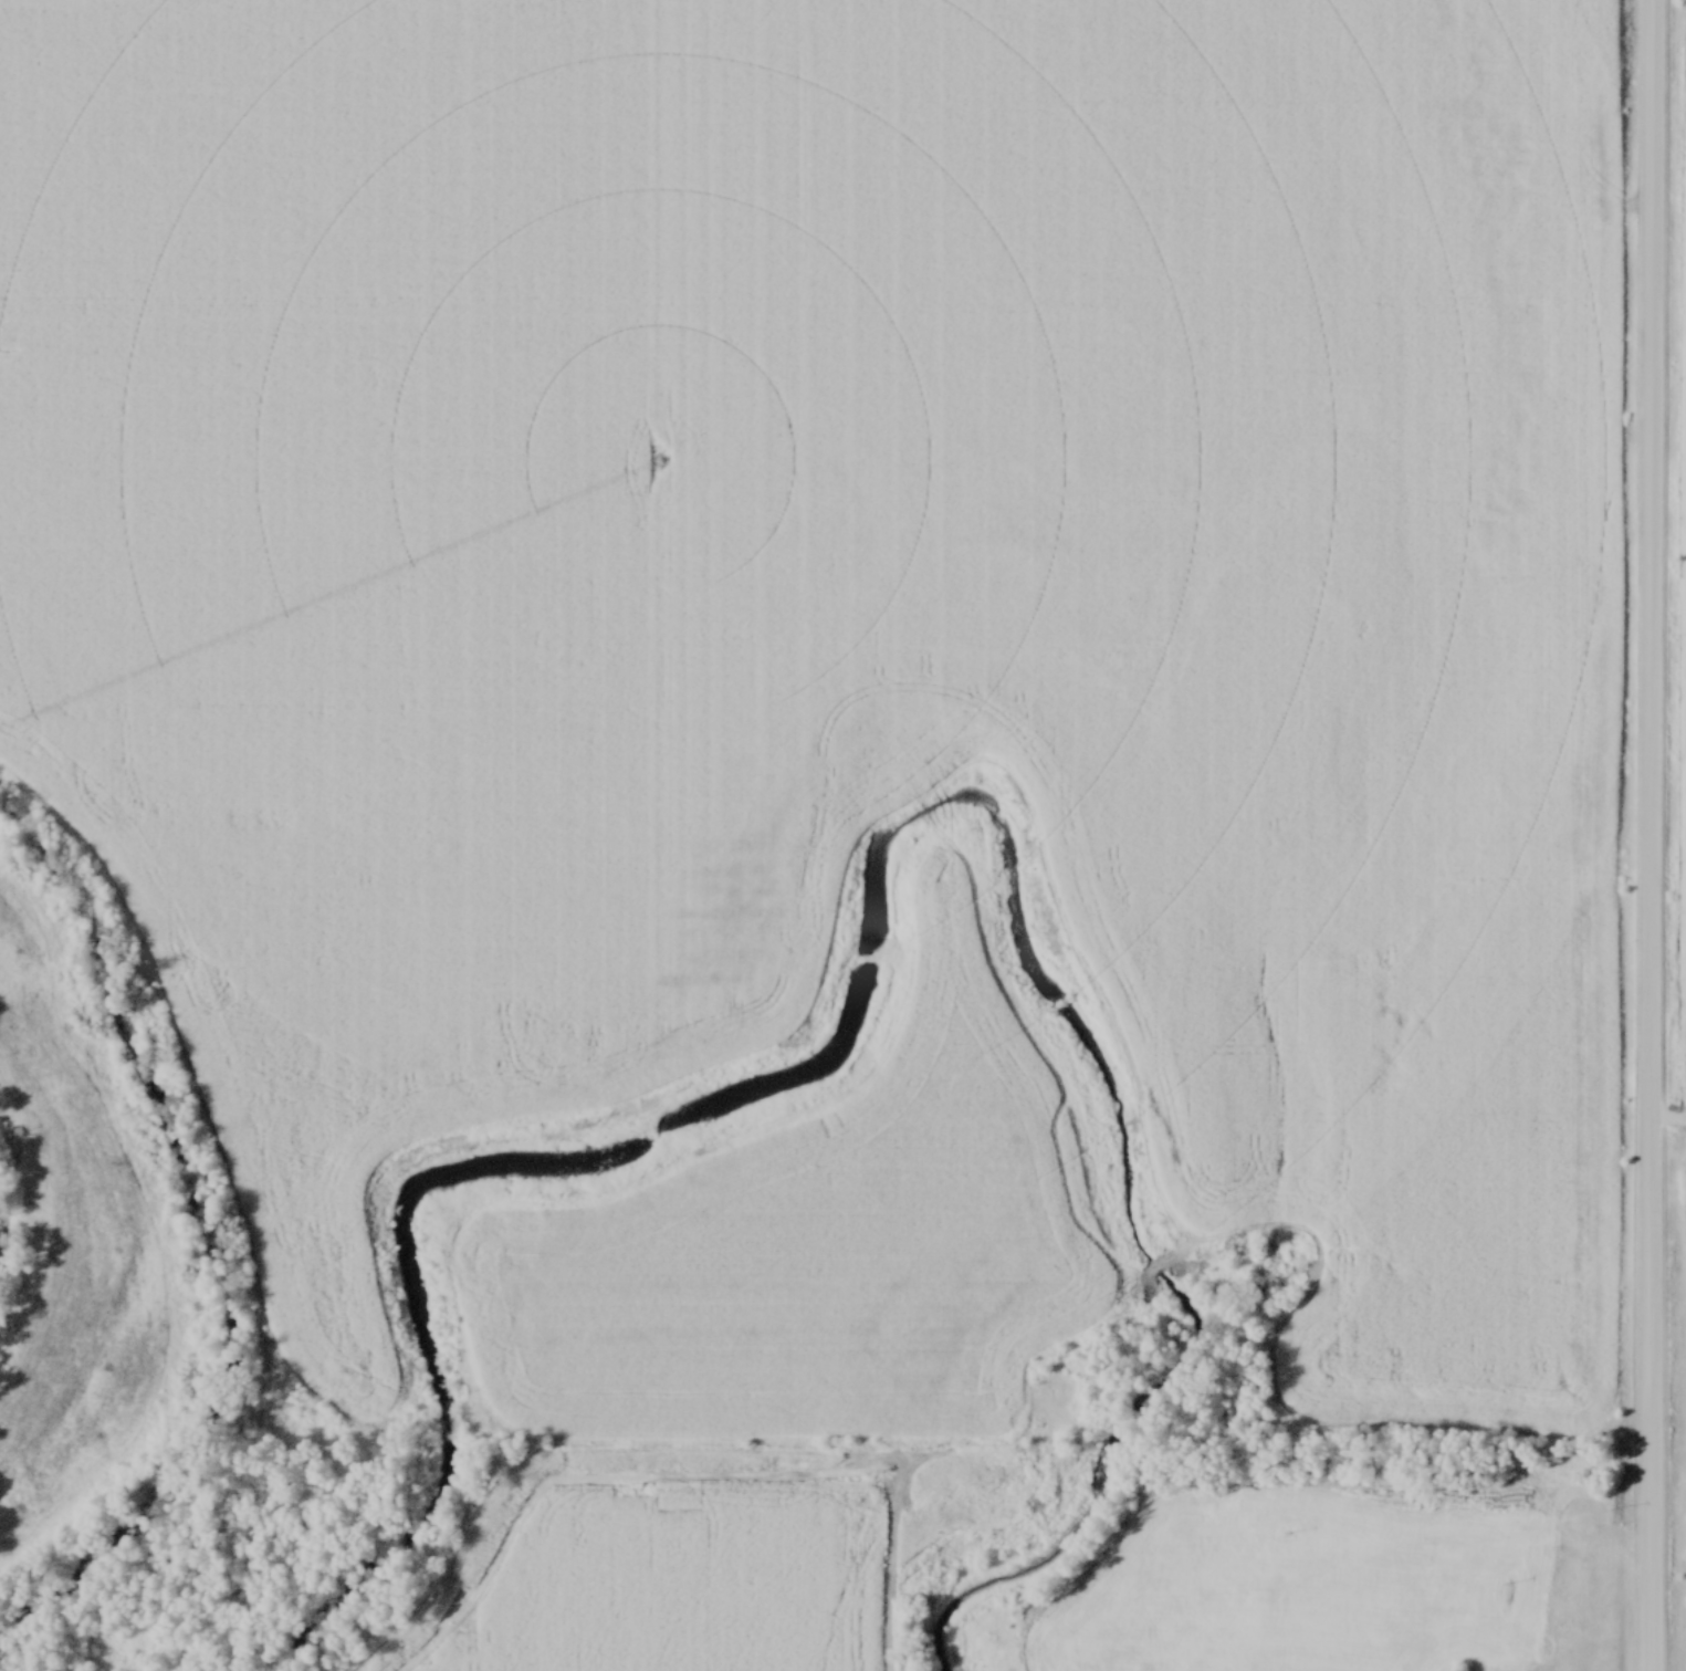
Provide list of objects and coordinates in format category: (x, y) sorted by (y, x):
road: (1656, 835)

